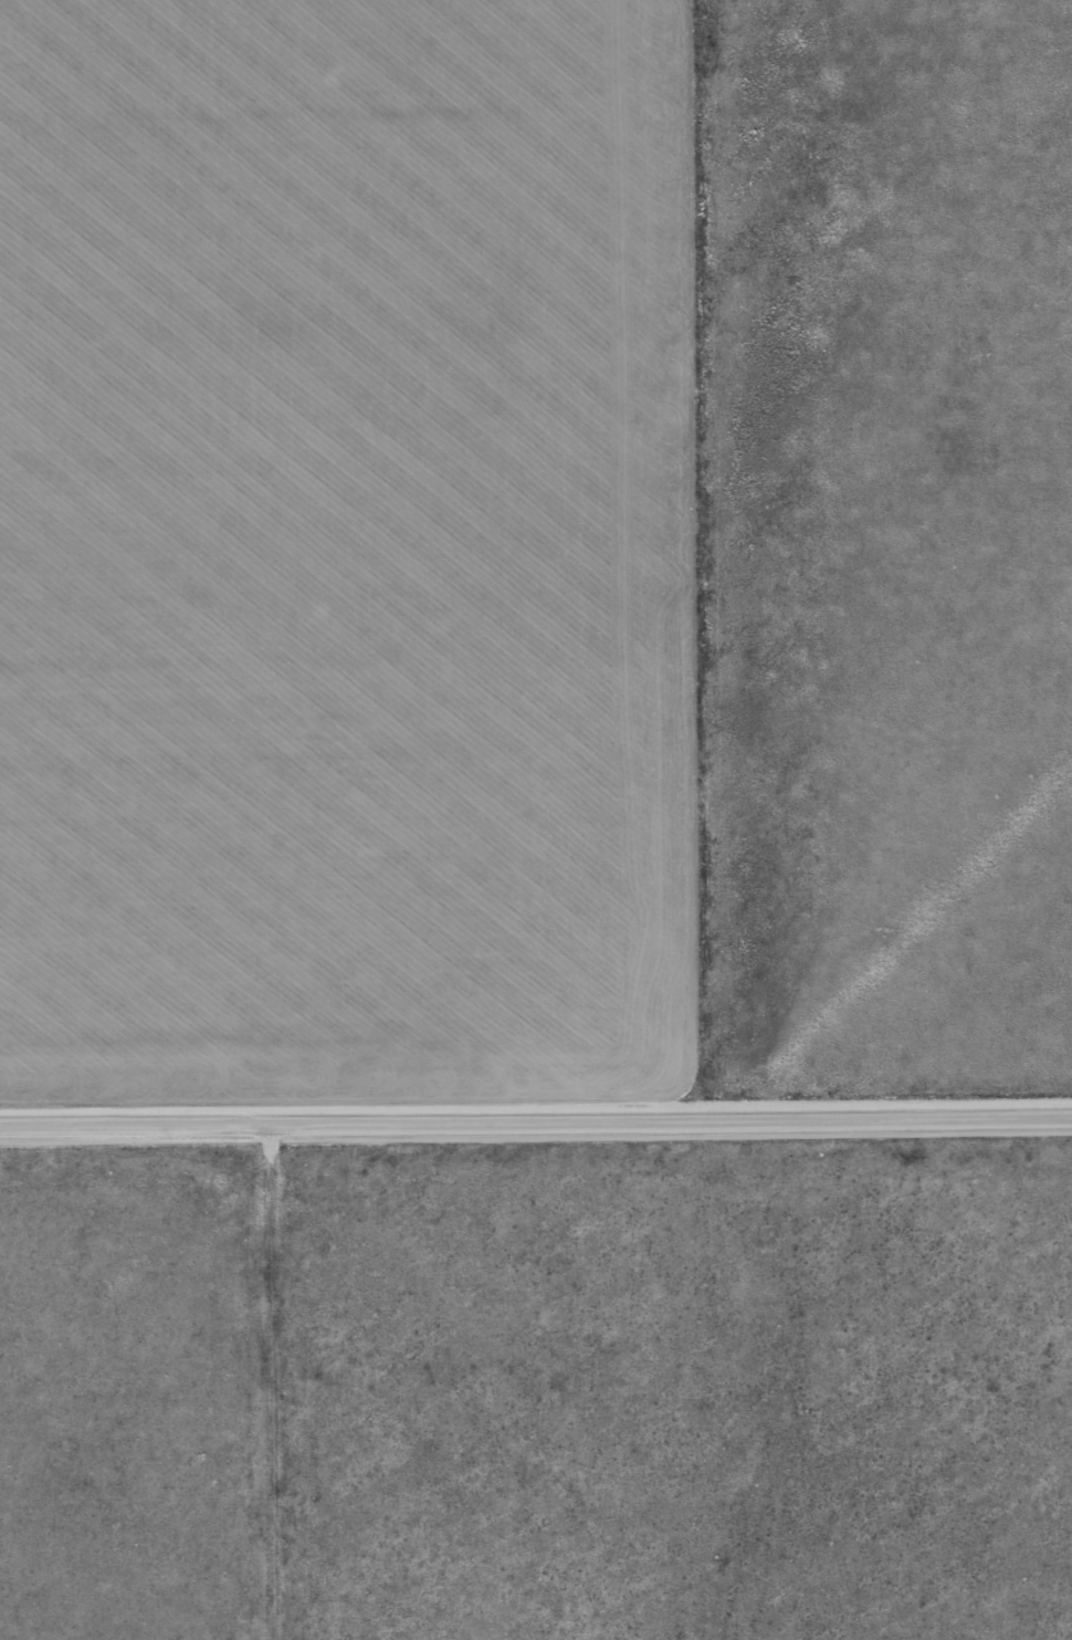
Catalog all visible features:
road: (536, 1156)

